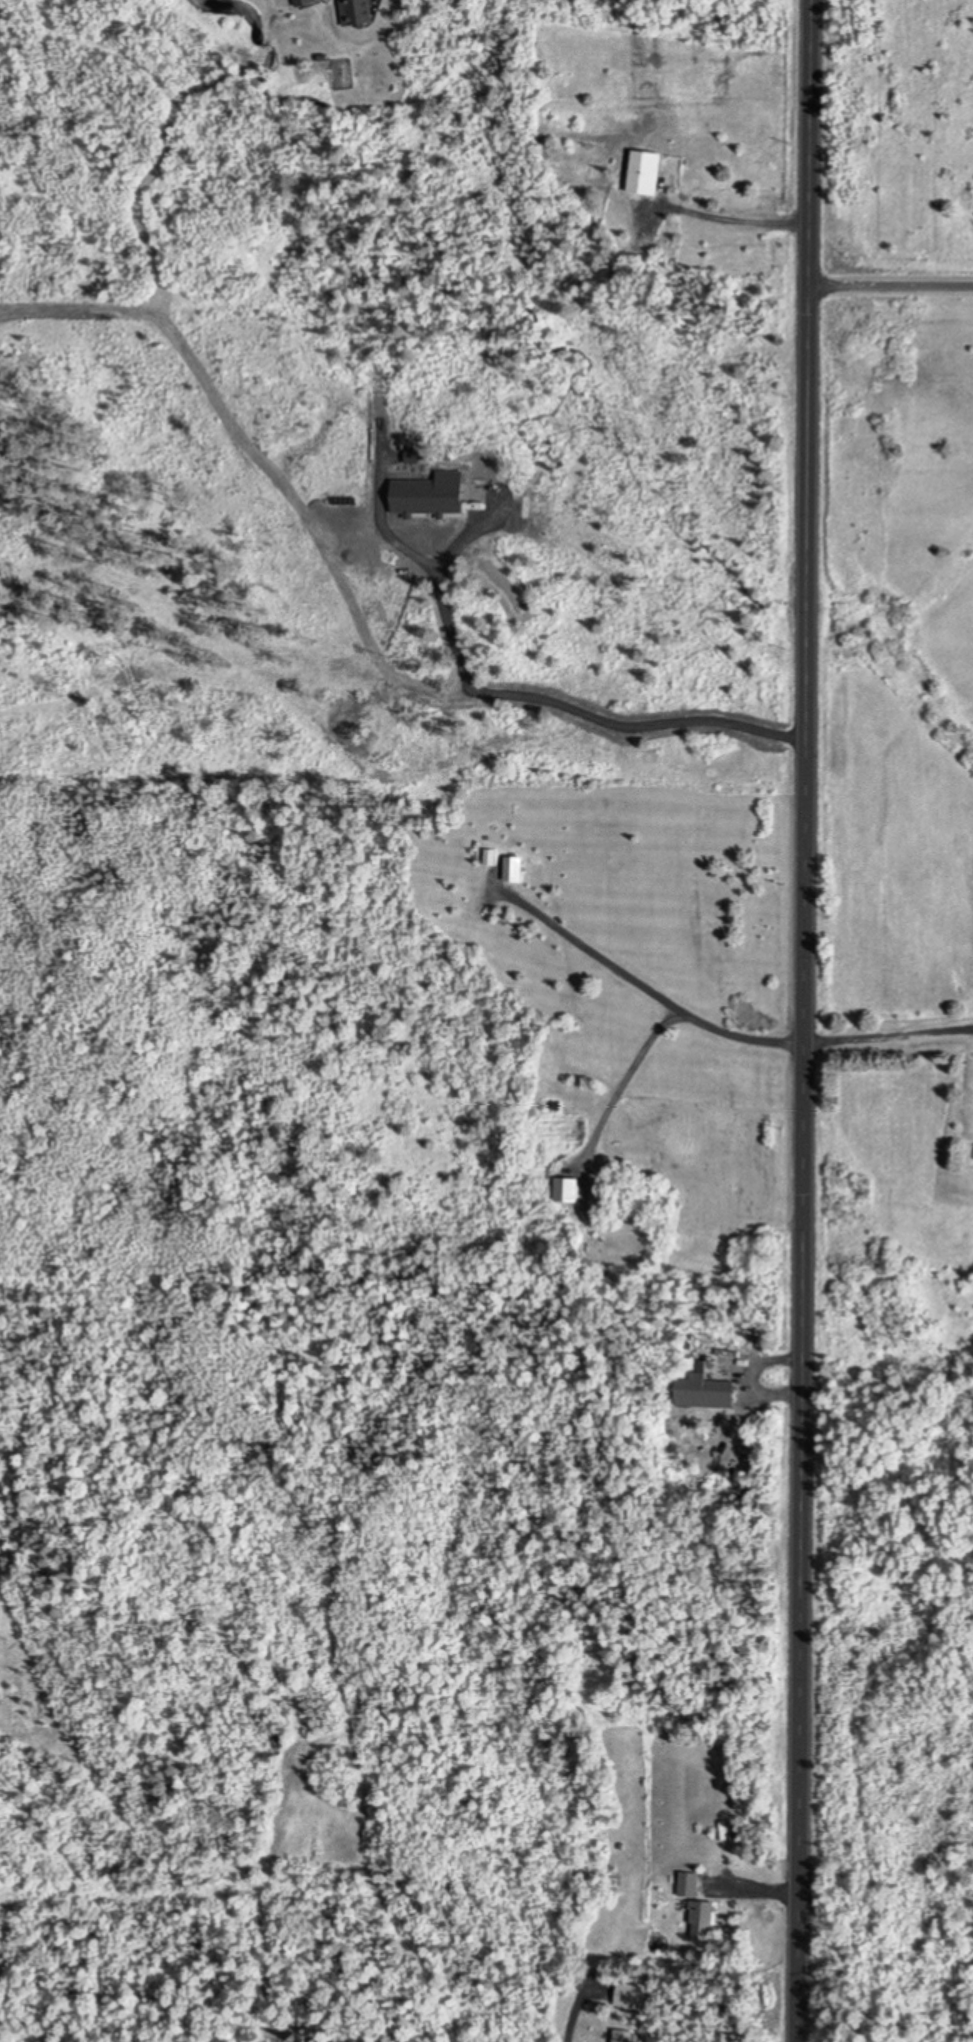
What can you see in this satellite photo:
building: (300, 1)
building: (355, 10)
building: (644, 169)
road: (727, 221)
road: (890, 288)
building: (489, 855)
building: (512, 869)
road: (802, 1020)
road: (719, 1030)
road: (627, 1079)
building: (538, 1157)
building: (566, 1188)
building: (598, 1201)
building: (703, 1389)
building: (741, 1477)
building: (581, 1869)
building: (687, 1884)
building: (700, 1918)
building: (628, 1995)
road: (571, 2021)
building: (622, 2036)
building: (316, 2041)

